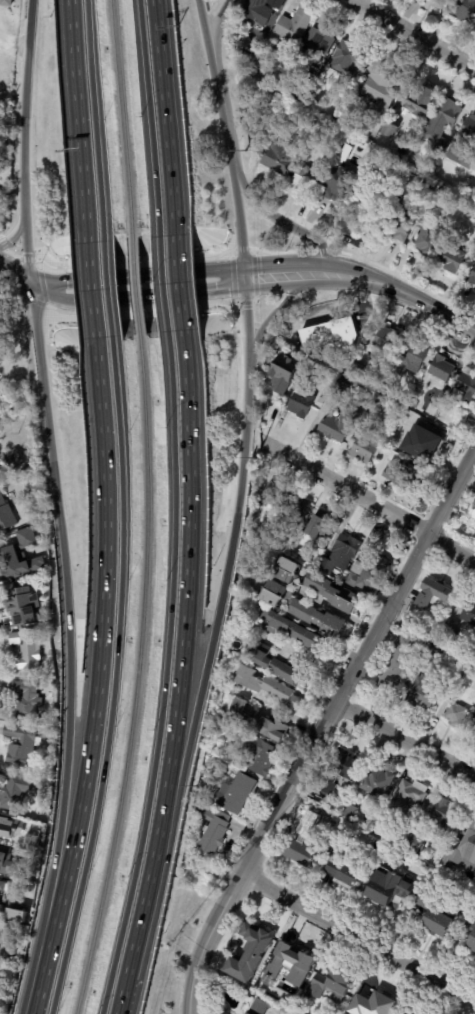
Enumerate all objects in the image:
building: (275, 2)
building: (4, 3)
building: (436, 3)
building: (256, 10)
building: (464, 12)
road: (217, 20)
road: (203, 21)
building: (238, 23)
building: (293, 25)
road: (413, 34)
building: (312, 47)
building: (343, 58)
building: (253, 66)
building: (380, 84)
building: (310, 98)
building: (416, 100)
building: (270, 102)
road: (23, 107)
road: (165, 112)
road: (222, 112)
road: (148, 113)
road: (94, 115)
road: (78, 116)
railway: (121, 116)
building: (441, 126)
building: (280, 128)
building: (386, 130)
building: (468, 132)
building: (278, 159)
building: (466, 161)
building: (396, 174)
building: (304, 179)
building: (337, 183)
building: (410, 183)
building: (2, 196)
building: (437, 198)
building: (365, 204)
building: (399, 223)
road: (286, 224)
road: (239, 229)
road: (14, 234)
building: (430, 240)
road: (25, 249)
building: (450, 259)
road: (312, 273)
road: (14, 274)
road: (272, 275)
road: (135, 278)
building: (472, 278)
road: (180, 280)
road: (163, 281)
railway: (135, 284)
road: (108, 285)
road: (91, 286)
road: (402, 291)
road: (134, 296)
building: (2, 312)
road: (274, 312)
road: (245, 314)
building: (331, 334)
building: (386, 341)
building: (413, 355)
building: (339, 364)
building: (439, 369)
building: (356, 371)
building: (282, 374)
building: (466, 386)
building: (386, 389)
building: (339, 390)
building: (299, 403)
building: (428, 409)
building: (404, 417)
road: (269, 423)
building: (336, 425)
road: (275, 428)
building: (394, 431)
building: (426, 443)
building: (364, 450)
building: (18, 458)
building: (1, 464)
building: (402, 476)
building: (270, 496)
building: (474, 499)
road: (369, 500)
building: (297, 509)
building: (471, 512)
building: (5, 513)
building: (322, 525)
building: (258, 532)
building: (339, 556)
building: (16, 558)
building: (313, 563)
building: (288, 571)
building: (367, 574)
road: (188, 585)
building: (273, 594)
building: (330, 594)
building: (433, 595)
road: (221, 597)
road: (65, 601)
building: (20, 604)
building: (315, 615)
building: (469, 615)
building: (40, 622)
building: (296, 632)
road: (102, 633)
building: (446, 638)
building: (27, 649)
building: (473, 661)
building: (394, 665)
building: (275, 666)
building: (460, 670)
road: (164, 677)
railway: (135, 678)
road: (114, 679)
building: (426, 680)
building: (268, 685)
building: (27, 700)
building: (454, 715)
building: (259, 723)
road: (321, 727)
building: (222, 728)
building: (51, 732)
building: (472, 733)
road: (405, 739)
building: (25, 745)
building: (256, 759)
building: (340, 771)
building: (378, 784)
building: (17, 793)
building: (234, 794)
building: (404, 797)
building: (349, 811)
building: (440, 816)
building: (306, 824)
building: (378, 827)
building: (211, 829)
building: (11, 840)
building: (413, 845)
building: (464, 849)
building: (298, 852)
building: (6, 862)
building: (337, 873)
building: (3, 885)
building: (387, 887)
building: (419, 898)
building: (1, 908)
building: (14, 915)
building: (441, 920)
road: (138, 925)
building: (3, 933)
building: (468, 933)
road: (358, 937)
building: (248, 954)
road: (40, 968)
building: (282, 968)
building: (329, 988)
building: (374, 1004)
building: (261, 1007)
building: (418, 1010)

